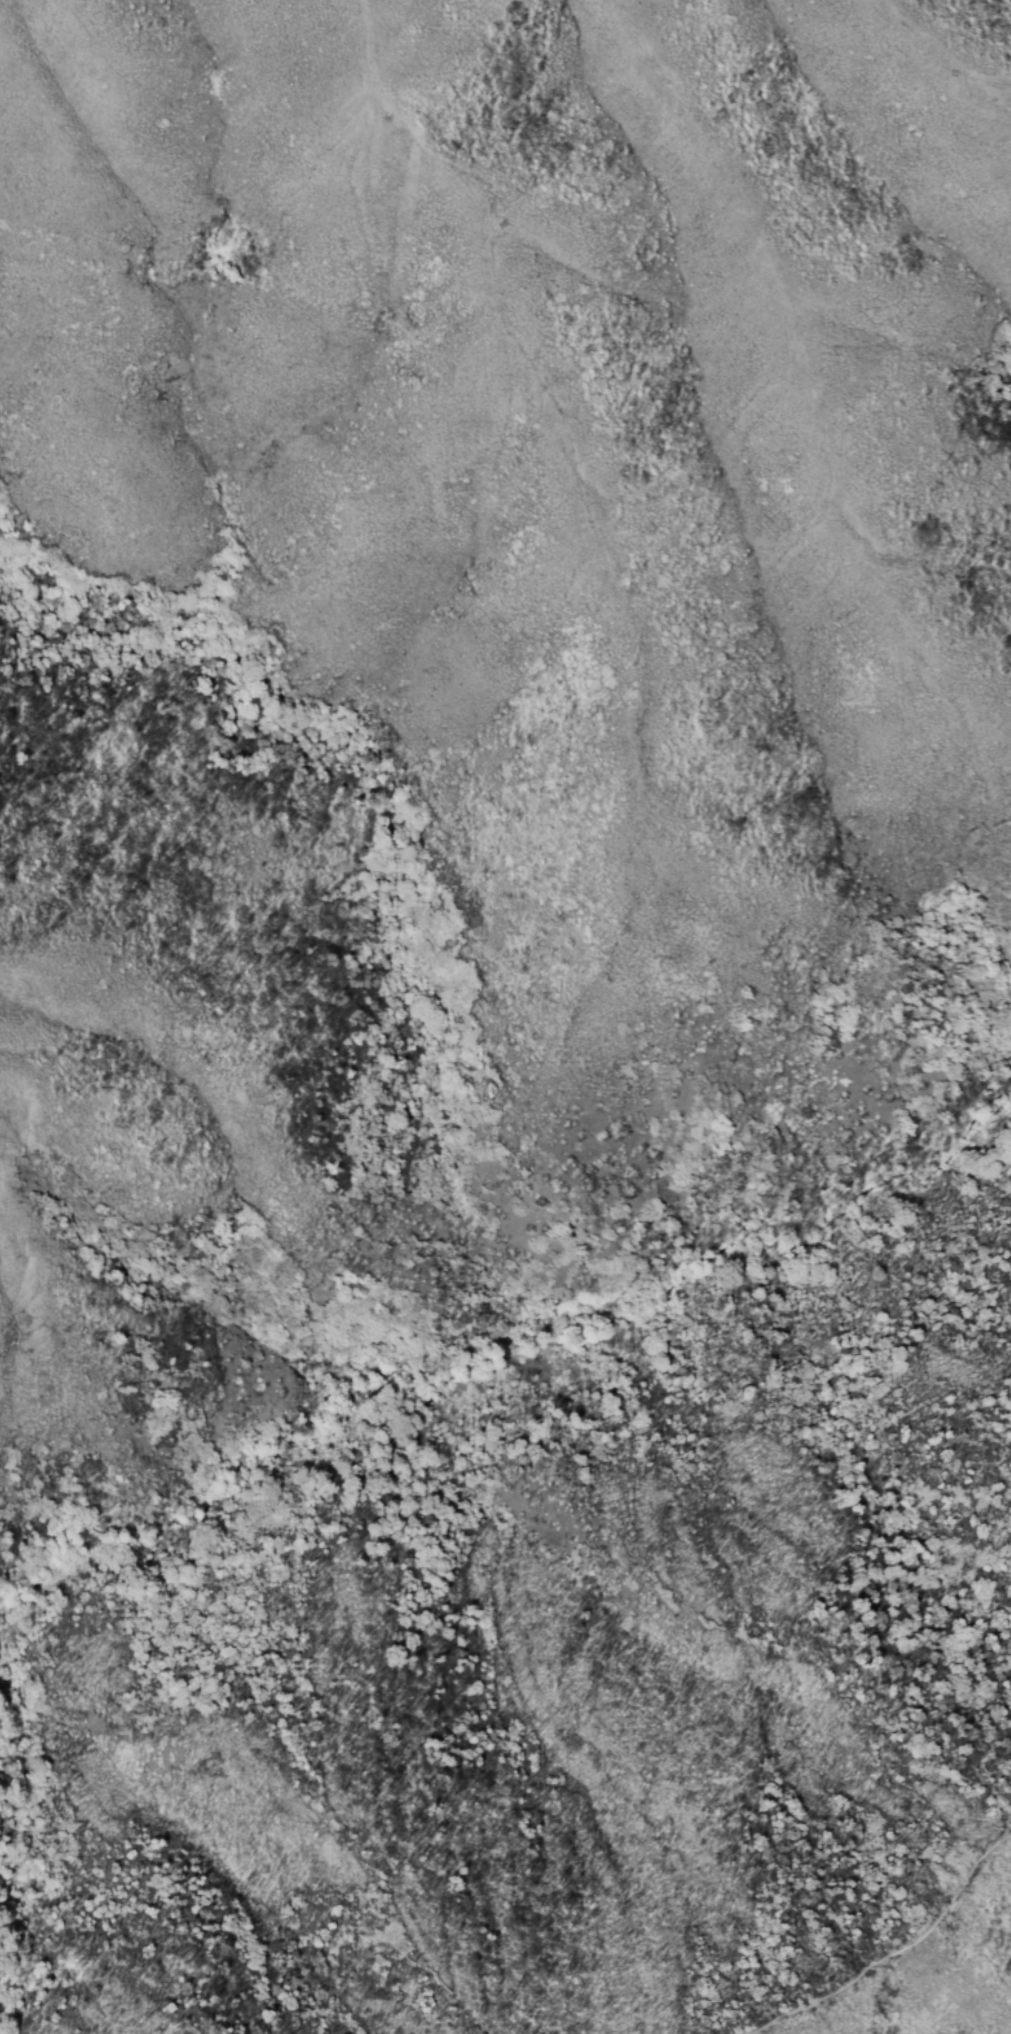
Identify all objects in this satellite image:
road: (925, 1939)
road: (778, 2018)
road: (814, 2020)

